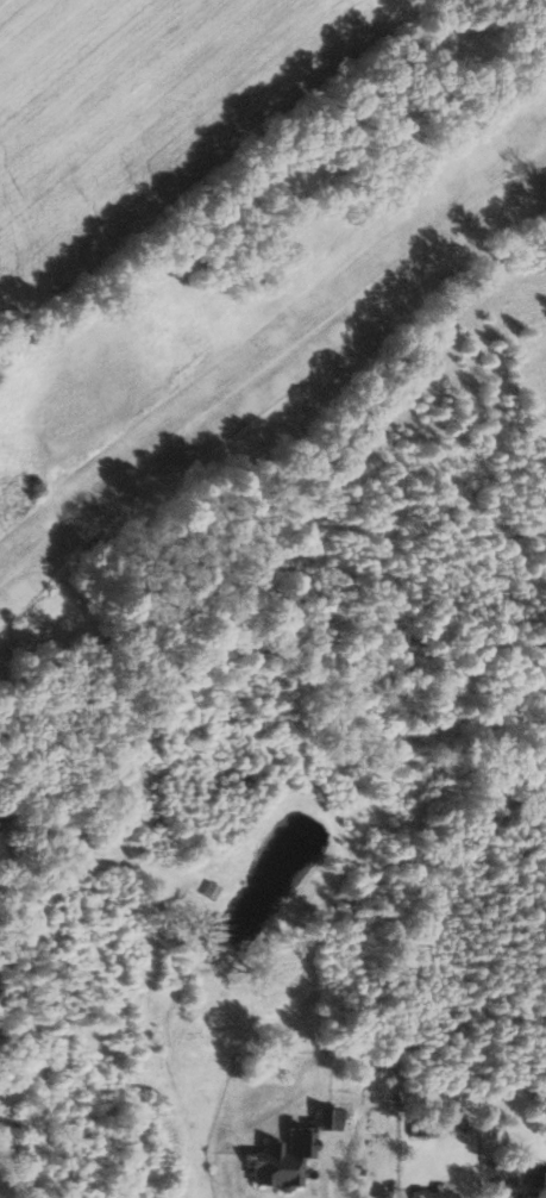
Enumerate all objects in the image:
airport runway: (272, 358)
building: (0, 823)
road: (17, 907)
building: (293, 1153)
road: (327, 1167)
building: (538, 1179)
building: (439, 1194)
road: (1, 1196)

